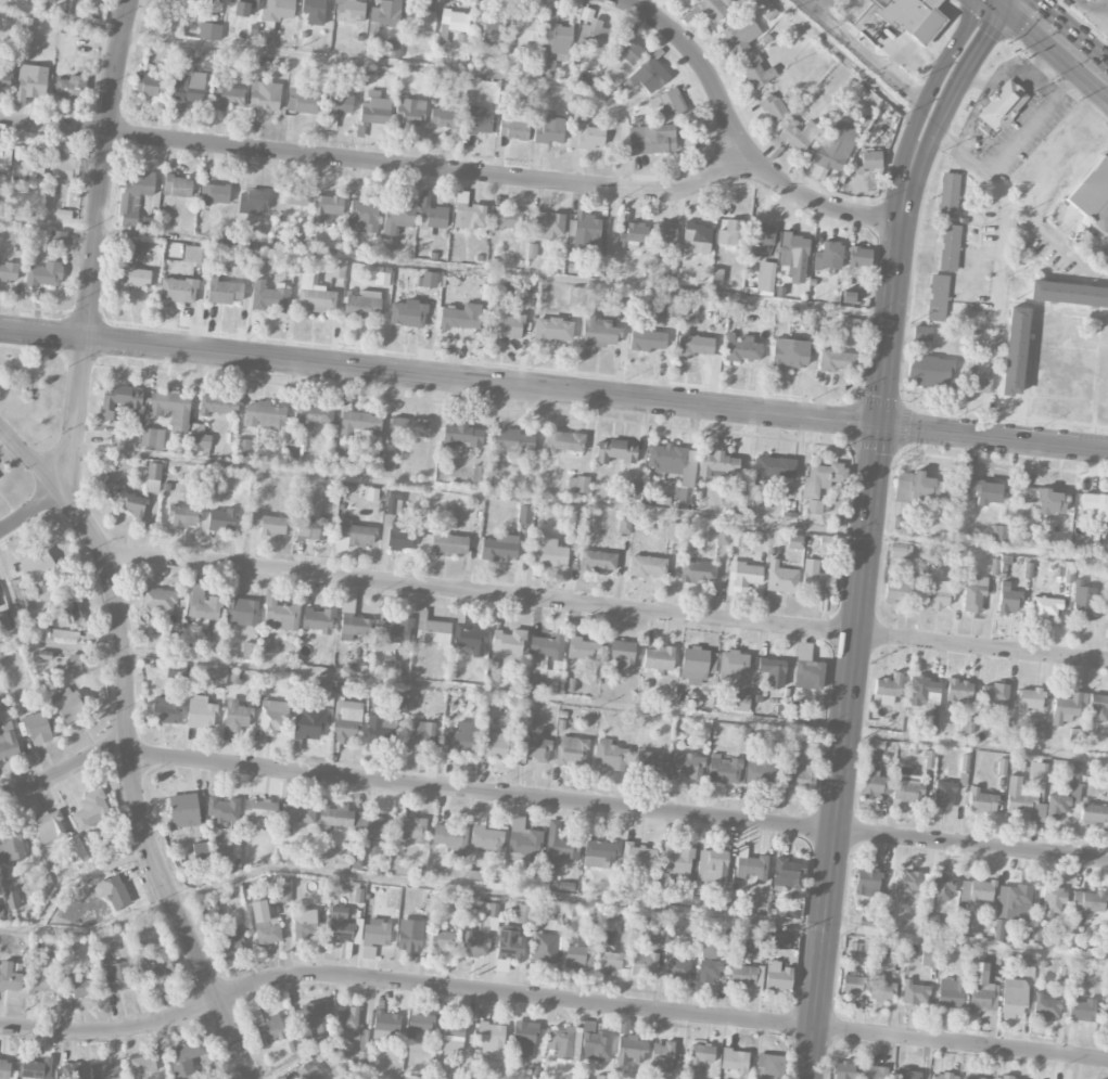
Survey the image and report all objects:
building: (168, 0)
building: (202, 3)
road: (989, 3)
building: (243, 7)
building: (715, 8)
building: (279, 10)
building: (314, 11)
building: (349, 11)
building: (385, 14)
building: (910, 16)
building: (420, 21)
building: (453, 24)
building: (487, 26)
building: (209, 30)
building: (526, 31)
building: (267, 33)
building: (739, 33)
building: (556, 36)
building: (594, 37)
road: (1062, 39)
building: (392, 42)
building: (627, 49)
road: (855, 52)
road: (977, 59)
road: (397, 64)
building: (547, 66)
building: (756, 73)
road: (1036, 75)
building: (5, 76)
building: (647, 76)
road: (991, 80)
building: (30, 84)
building: (150, 85)
building: (68, 86)
building: (189, 87)
road: (930, 90)
building: (265, 95)
building: (226, 97)
building: (303, 101)
building: (341, 104)
building: (668, 104)
building: (1003, 105)
building: (773, 107)
building: (374, 108)
building: (410, 112)
road: (971, 116)
road: (1035, 117)
building: (444, 118)
building: (479, 119)
building: (548, 128)
building: (513, 130)
building: (799, 133)
building: (586, 136)
building: (652, 139)
road: (735, 143)
building: (836, 145)
road: (930, 150)
building: (4, 159)
building: (869, 162)
road: (373, 163)
building: (31, 165)
building: (63, 165)
building: (177, 187)
building: (215, 193)
building: (135, 194)
building: (298, 195)
building: (1093, 195)
building: (948, 196)
building: (253, 201)
building: (327, 206)
road: (1020, 207)
building: (468, 213)
building: (362, 216)
building: (430, 216)
building: (397, 217)
building: (508, 218)
building: (548, 224)
building: (15, 233)
building: (583, 233)
building: (664, 233)
building: (731, 234)
building: (763, 234)
building: (632, 235)
building: (697, 237)
building: (58, 239)
road: (94, 242)
building: (130, 245)
building: (950, 247)
building: (195, 254)
building: (794, 256)
building: (829, 256)
building: (859, 256)
road: (445, 266)
building: (575, 268)
building: (672, 269)
building: (338, 270)
building: (9, 271)
building: (44, 274)
building: (765, 277)
building: (131, 278)
building: (382, 279)
building: (428, 280)
building: (178, 290)
building: (224, 291)
building: (1068, 294)
building: (314, 295)
building: (575, 296)
building: (269, 297)
building: (848, 297)
building: (938, 298)
building: (362, 305)
building: (668, 308)
building: (407, 313)
building: (460, 317)
building: (505, 324)
building: (851, 325)
building: (552, 330)
building: (598, 332)
building: (922, 333)
building: (647, 341)
building: (990, 341)
building: (693, 346)
building: (741, 348)
building: (1015, 351)
building: (790, 352)
building: (837, 361)
building: (930, 371)
building: (975, 380)
road: (553, 389)
building: (118, 401)
building: (218, 404)
building: (173, 409)
building: (264, 415)
building: (311, 415)
building: (359, 423)
traffic signals: (879, 425)
building: (408, 427)
building: (460, 436)
building: (152, 437)
building: (199, 440)
building: (511, 441)
building: (563, 441)
building: (243, 447)
building: (615, 451)
building: (290, 452)
building: (341, 459)
building: (666, 459)
building: (386, 463)
building: (718, 465)
building: (772, 468)
building: (480, 474)
building: (153, 477)
building: (822, 478)
building: (577, 484)
building: (921, 488)
building: (633, 491)
building: (982, 491)
building: (372, 493)
building: (682, 494)
building: (393, 500)
road: (589, 501)
building: (1050, 501)
building: (1095, 505)
building: (814, 506)
building: (790, 508)
road: (33, 512)
building: (525, 515)
building: (183, 516)
building: (221, 519)
building: (572, 522)
building: (269, 524)
road: (84, 525)
building: (624, 525)
building: (310, 529)
building: (673, 531)
building: (999, 534)
building: (353, 535)
building: (399, 537)
building: (722, 537)
building: (739, 539)
building: (794, 542)
building: (448, 544)
building: (825, 545)
building: (499, 548)
building: (901, 551)
building: (547, 553)
building: (598, 561)
building: (37, 565)
building: (647, 566)
building: (698, 571)
building: (742, 577)
building: (781, 578)
building: (816, 579)
building: (901, 590)
building: (939, 593)
building: (973, 593)
building: (158, 600)
building: (1008, 602)
building: (1084, 602)
road: (606, 605)
building: (203, 607)
building: (1045, 607)
building: (241, 612)
building: (68, 614)
building: (279, 614)
building: (4, 619)
building: (317, 620)
building: (354, 626)
building: (394, 630)
building: (432, 630)
building: (53, 632)
road: (855, 633)
building: (470, 638)
building: (158, 642)
building: (508, 642)
building: (546, 648)
building: (583, 650)
building: (249, 651)
building: (620, 654)
building: (658, 658)
building: (75, 661)
building: (695, 664)
building: (734, 664)
building: (807, 669)
building: (770, 672)
building: (219, 678)
building: (888, 689)
building: (958, 691)
road: (126, 692)
building: (396, 696)
building: (994, 697)
building: (926, 699)
building: (1031, 699)
building: (740, 702)
road: (615, 704)
building: (67, 705)
building: (1068, 707)
building: (1098, 708)
building: (165, 710)
building: (200, 712)
building: (237, 716)
building: (271, 717)
building: (346, 721)
building: (965, 724)
building: (305, 727)
building: (37, 729)
building: (381, 729)
building: (1039, 732)
building: (420, 735)
building: (1074, 736)
building: (460, 737)
building: (8, 742)
road: (129, 745)
building: (495, 745)
building: (876, 745)
building: (535, 748)
building: (572, 752)
building: (610, 755)
building: (651, 761)
building: (687, 765)
road: (65, 766)
building: (724, 769)
building: (1037, 771)
building: (761, 774)
building: (799, 779)
building: (875, 784)
building: (907, 786)
building: (943, 794)
building: (981, 801)
building: (1023, 801)
building: (1062, 801)
road: (619, 806)
building: (91, 809)
building: (183, 810)
building: (224, 811)
building: (259, 813)
building: (1094, 813)
building: (295, 815)
building: (334, 818)
building: (49, 826)
building: (410, 828)
building: (370, 830)
building: (484, 834)
building: (451, 838)
building: (523, 838)
building: (559, 845)
building: (11, 846)
building: (75, 849)
building: (200, 851)
building: (599, 852)
building: (639, 856)
building: (356, 858)
building: (675, 861)
building: (712, 866)
building: (751, 866)
building: (787, 874)
building: (906, 882)
building: (867, 883)
building: (937, 889)
building: (977, 890)
building: (113, 891)
road: (548, 896)
building: (12, 899)
building: (1054, 900)
building: (1014, 902)
building: (1087, 902)
building: (488, 910)
building: (1, 912)
building: (887, 915)
building: (524, 919)
road: (180, 921)
building: (304, 923)
building: (961, 923)
building: (339, 925)
building: (661, 928)
building: (267, 932)
building: (377, 933)
building: (409, 940)
building: (442, 940)
building: (1107, 940)
building: (779, 941)
building: (230, 945)
building: (474, 945)
building: (756, 947)
building: (508, 948)
building: (545, 948)
building: (609, 952)
building: (575, 956)
building: (929, 956)
building: (589, 958)
building: (710, 963)
building: (644, 964)
building: (156, 965)
building: (677, 969)
building: (743, 974)
building: (777, 976)
building: (9, 977)
building: (117, 977)
building: (852, 986)
building: (78, 987)
building: (881, 990)
building: (982, 990)
building: (951, 992)
building: (915, 993)
road: (550, 998)
building: (1014, 998)
building: (1046, 1007)
building: (1081, 1011)
building: (1105, 1015)
building: (309, 1017)
building: (347, 1018)
building: (420, 1023)
building: (386, 1025)
building: (266, 1027)
building: (453, 1035)
building: (523, 1038)
building: (492, 1039)
building: (563, 1041)
building: (595, 1044)
building: (628, 1045)
road: (322, 1052)
building: (701, 1054)
building: (662, 1057)
building: (187, 1058)
building: (734, 1061)
building: (142, 1065)
building: (769, 1066)
building: (4, 1068)
building: (37, 1068)
building: (844, 1070)
building: (105, 1071)
building: (307, 1071)
building: (873, 1071)
building: (67, 1072)
building: (906, 1074)
building: (941, 1076)
building: (601, 1077)
building: (975, 1078)
building: (1005, 1078)

